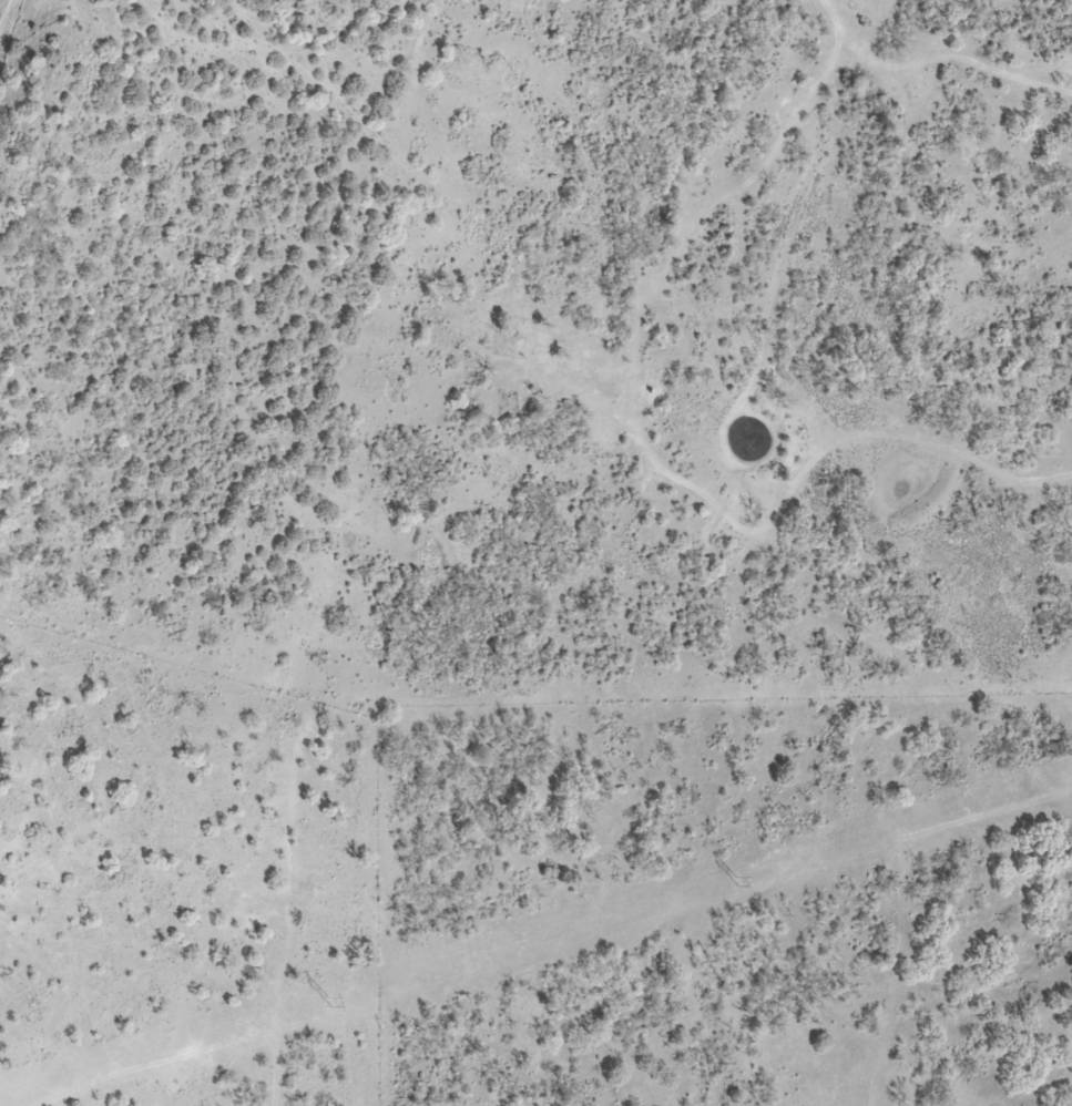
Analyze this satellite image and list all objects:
road: (4, 14)
power tower: (737, 882)
power tower: (333, 1002)

